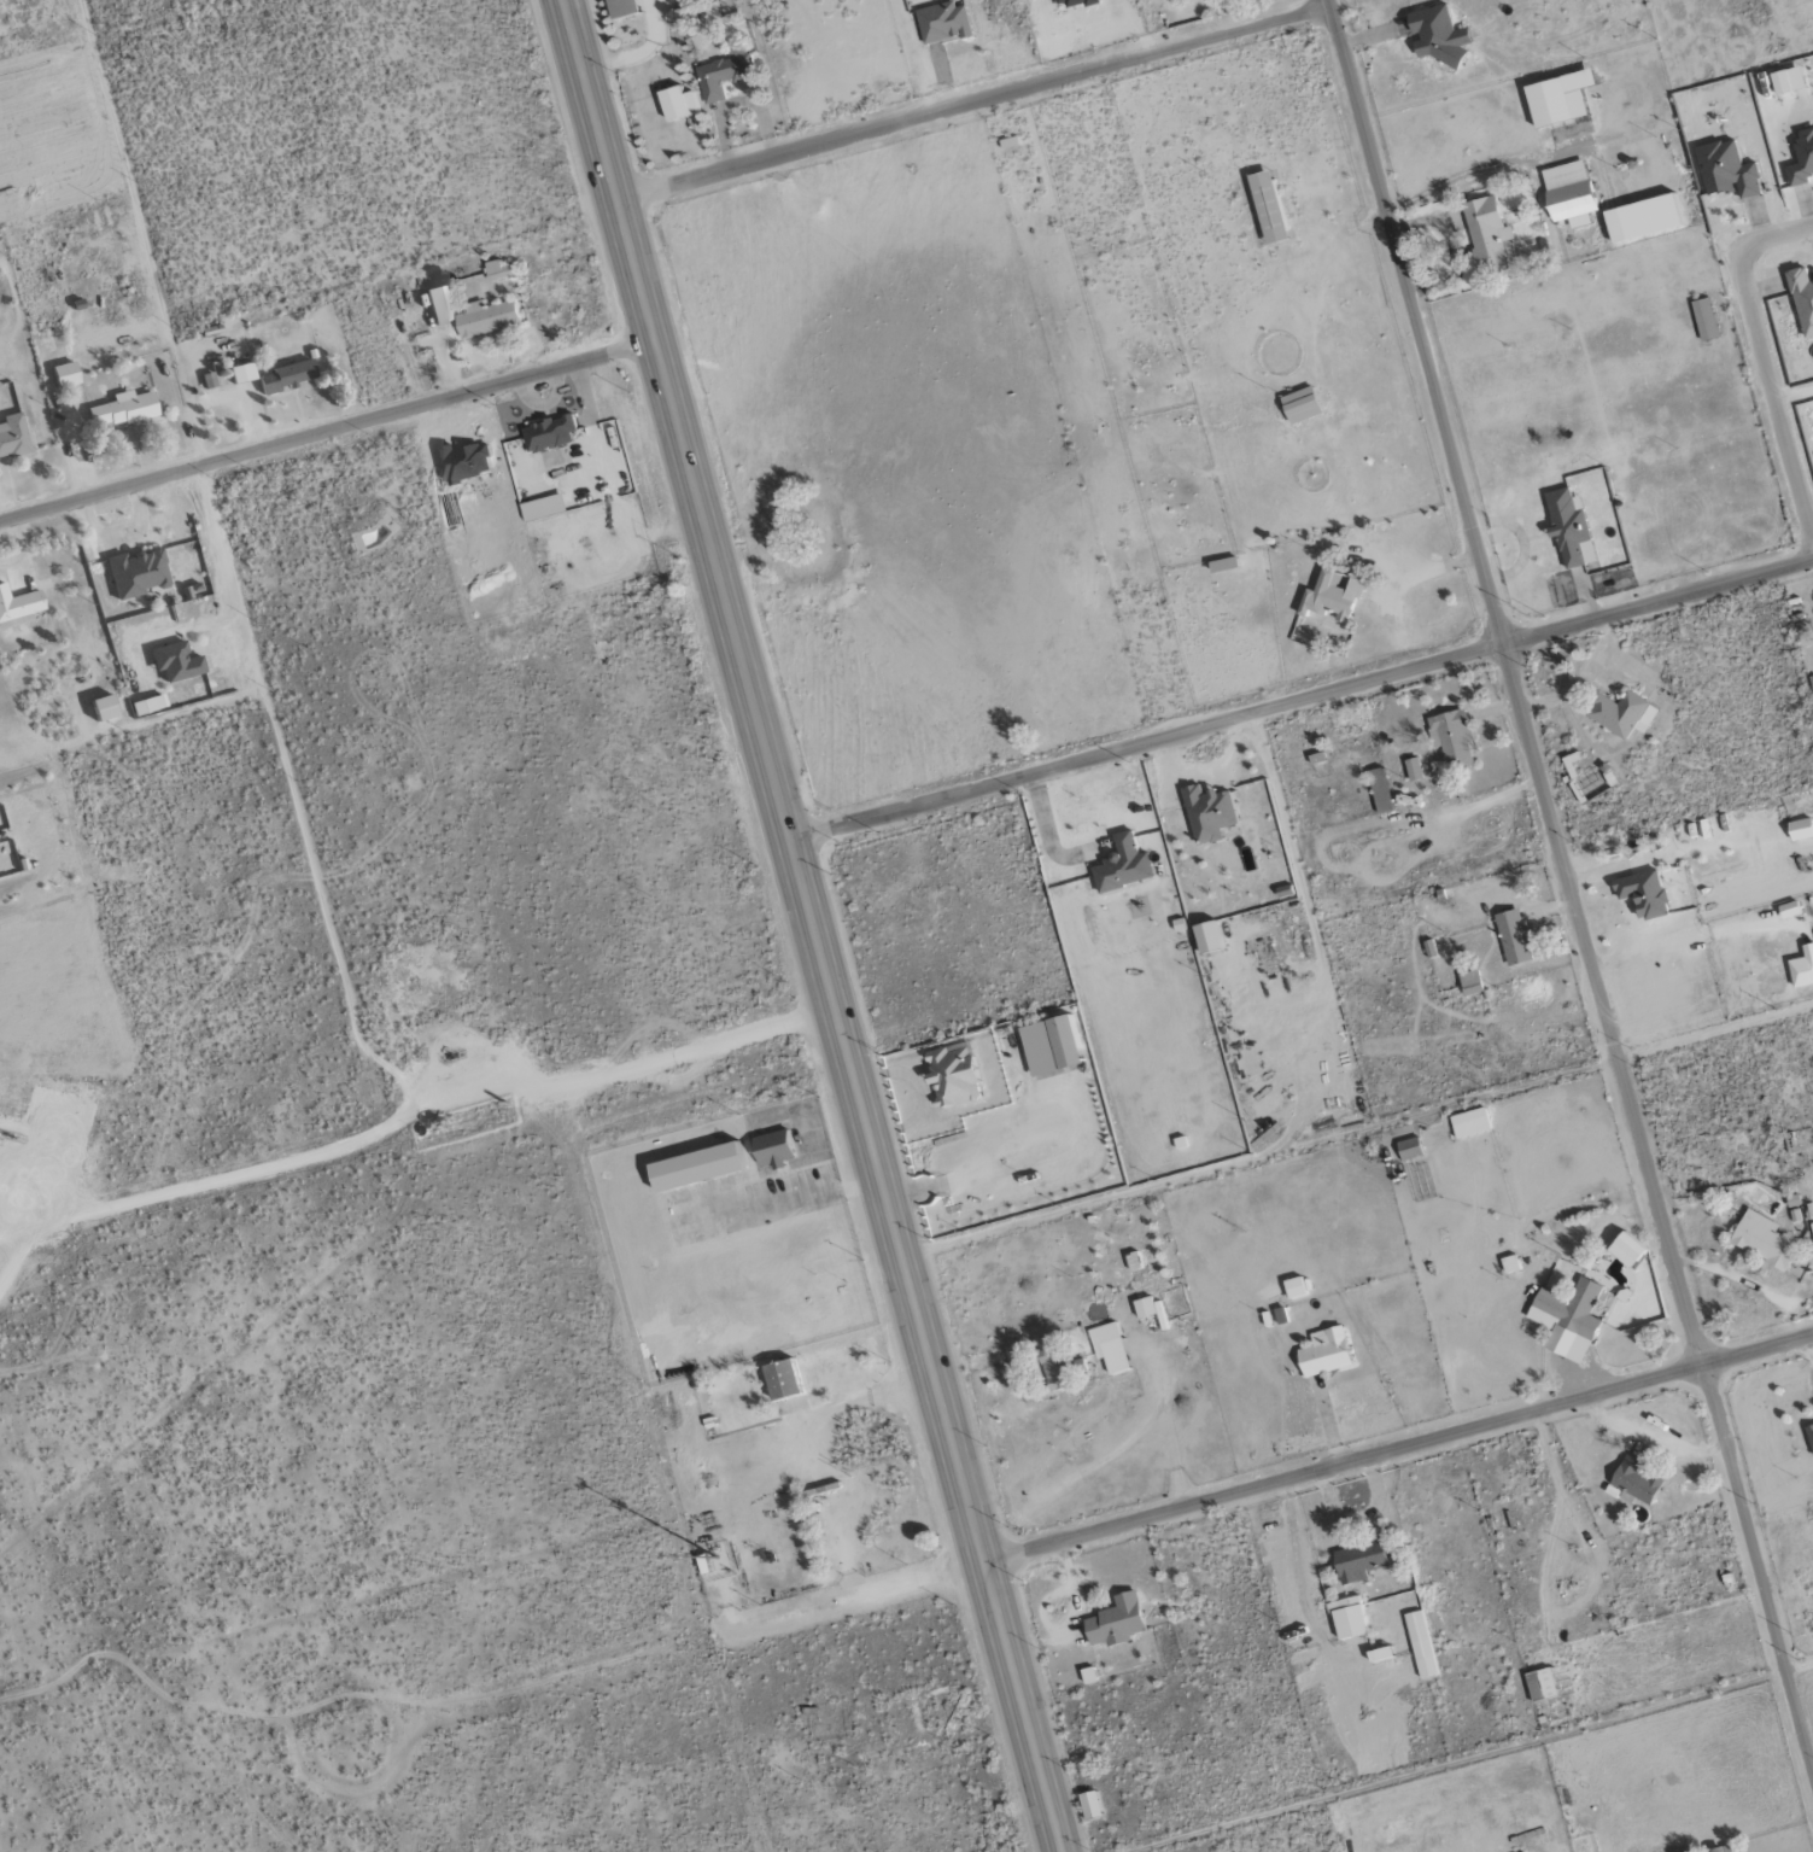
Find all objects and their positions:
building: (1072, 2)
building: (620, 8)
building: (942, 23)
building: (1434, 35)
building: (723, 74)
building: (1786, 81)
building: (1557, 99)
road: (976, 104)
building: (676, 105)
building: (1801, 158)
building: (1725, 170)
building: (1568, 193)
building: (1263, 209)
building: (1641, 218)
building: (1485, 234)
building: (1527, 247)
building: (502, 270)
building: (1802, 298)
building: (444, 304)
building: (492, 317)
road: (1765, 360)
building: (244, 373)
building: (69, 374)
building: (288, 376)
building: (1299, 405)
building: (125, 409)
building: (554, 433)
road: (329, 434)
building: (13, 436)
building: (468, 462)
building: (1568, 527)
road: (218, 559)
building: (1222, 563)
building: (140, 573)
building: (1330, 597)
building: (19, 607)
building: (179, 662)
road: (1303, 699)
building: (145, 706)
building: (107, 708)
building: (1621, 713)
building: (1451, 737)
building: (1413, 769)
building: (1379, 789)
building: (1207, 812)
building: (1800, 829)
building: (1121, 864)
road: (1571, 886)
building: (1642, 893)
road: (815, 925)
road: (1312, 927)
building: (1205, 936)
building: (1513, 936)
building: (1802, 966)
building: (1469, 982)
building: (1062, 1040)
building: (952, 1074)
building: (771, 1149)
building: (1409, 1149)
building: (694, 1165)
building: (1762, 1239)
building: (1625, 1250)
building: (1294, 1287)
building: (1145, 1307)
building: (1567, 1319)
building: (1109, 1348)
building: (1323, 1353)
building: (1053, 1371)
building: (782, 1379)
building: (1809, 1435)
road: (1399, 1448)
building: (1633, 1479)
building: (1358, 1560)
building: (1346, 1618)
building: (1113, 1622)
building: (1420, 1643)
building: (1378, 1654)
building: (1539, 1684)
building: (1719, 1848)

